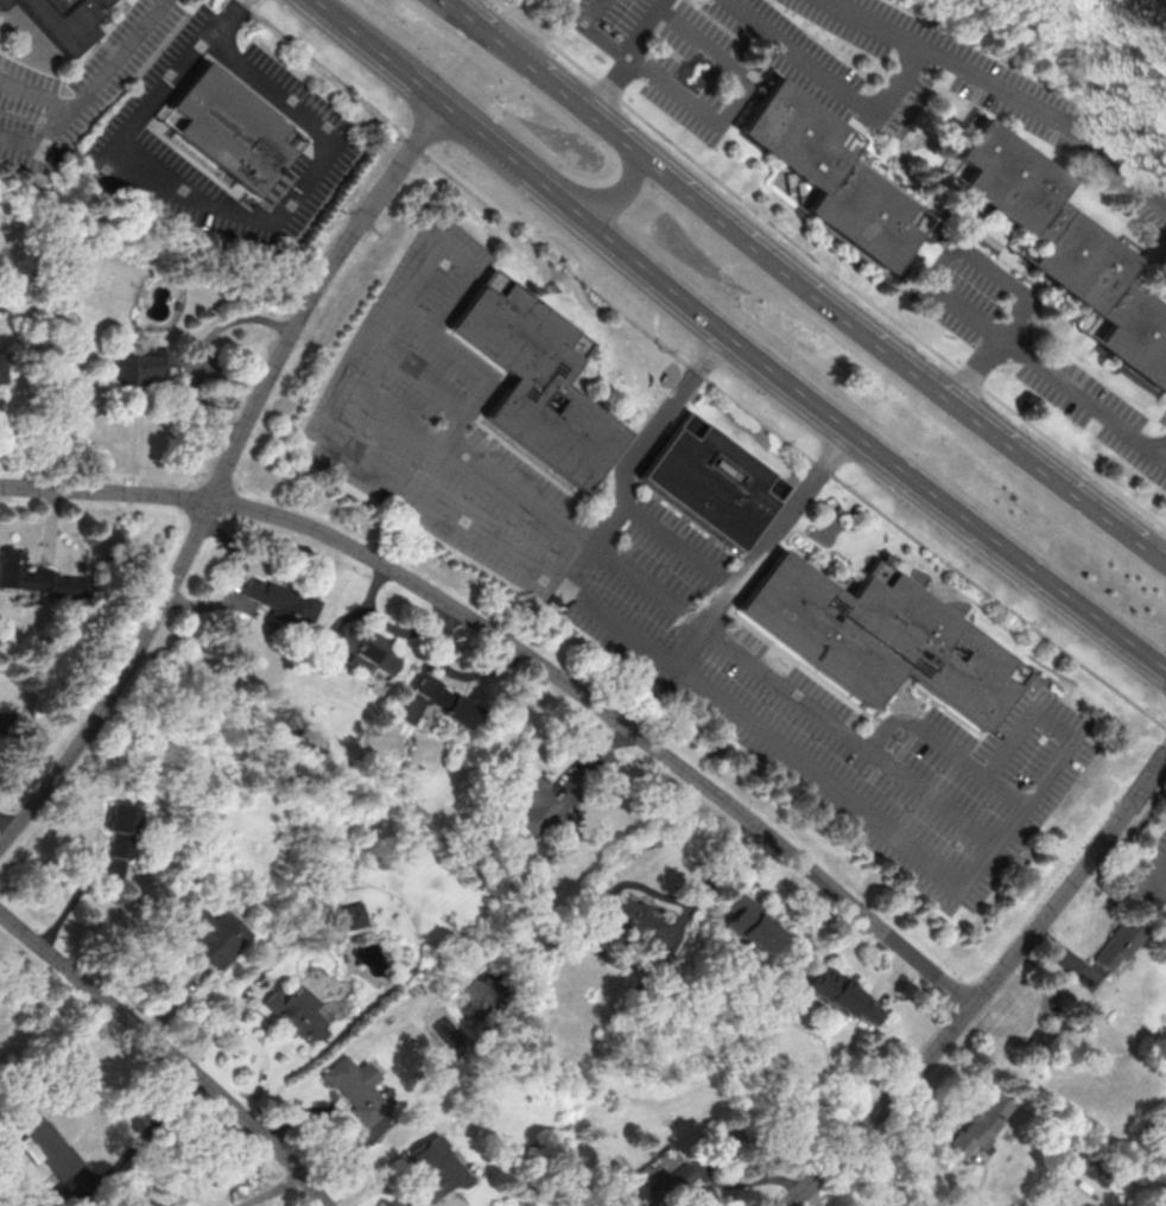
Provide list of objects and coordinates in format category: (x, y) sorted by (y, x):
building: (1, 1)
road: (666, 5)
building: (61, 20)
road: (227, 20)
road: (361, 38)
road: (626, 51)
road: (836, 78)
parking lot: (74, 87)
road: (1016, 91)
road: (89, 93)
road: (38, 96)
road: (718, 122)
road: (468, 123)
building: (228, 127)
parking lot: (330, 127)
building: (832, 174)
road: (551, 186)
road: (619, 195)
road: (246, 216)
building: (1067, 246)
road: (830, 262)
road: (805, 281)
road: (1013, 285)
road: (407, 292)
road: (952, 299)
road: (416, 319)
road: (201, 348)
building: (137, 366)
building: (1, 367)
road: (980, 368)
road: (697, 370)
building: (537, 380)
road: (419, 382)
road: (800, 382)
flagpole: (655, 394)
road: (1084, 399)
flagpole: (649, 402)
flagpole: (644, 408)
road: (1164, 455)
road: (221, 472)
building: (711, 481)
road: (622, 515)
road: (575, 533)
road: (682, 546)
road: (762, 547)
building: (37, 579)
building: (281, 603)
road: (1098, 615)
building: (877, 636)
building: (365, 649)
road: (526, 654)
building: (445, 700)
road: (1054, 768)
road: (1006, 791)
road: (931, 796)
building: (534, 804)
road: (1117, 815)
building: (121, 818)
building: (118, 848)
road: (1153, 887)
building: (351, 915)
road: (1153, 916)
building: (634, 922)
building: (750, 923)
building: (213, 934)
building: (1117, 942)
building: (842, 996)
building: (294, 1013)
building: (1037, 1046)
road: (931, 1049)
road: (170, 1051)
building: (355, 1088)
building: (980, 1122)
road: (151, 1129)
building: (45, 1143)
building: (433, 1168)
building: (658, 1187)
road: (381, 1188)
road: (272, 1194)

